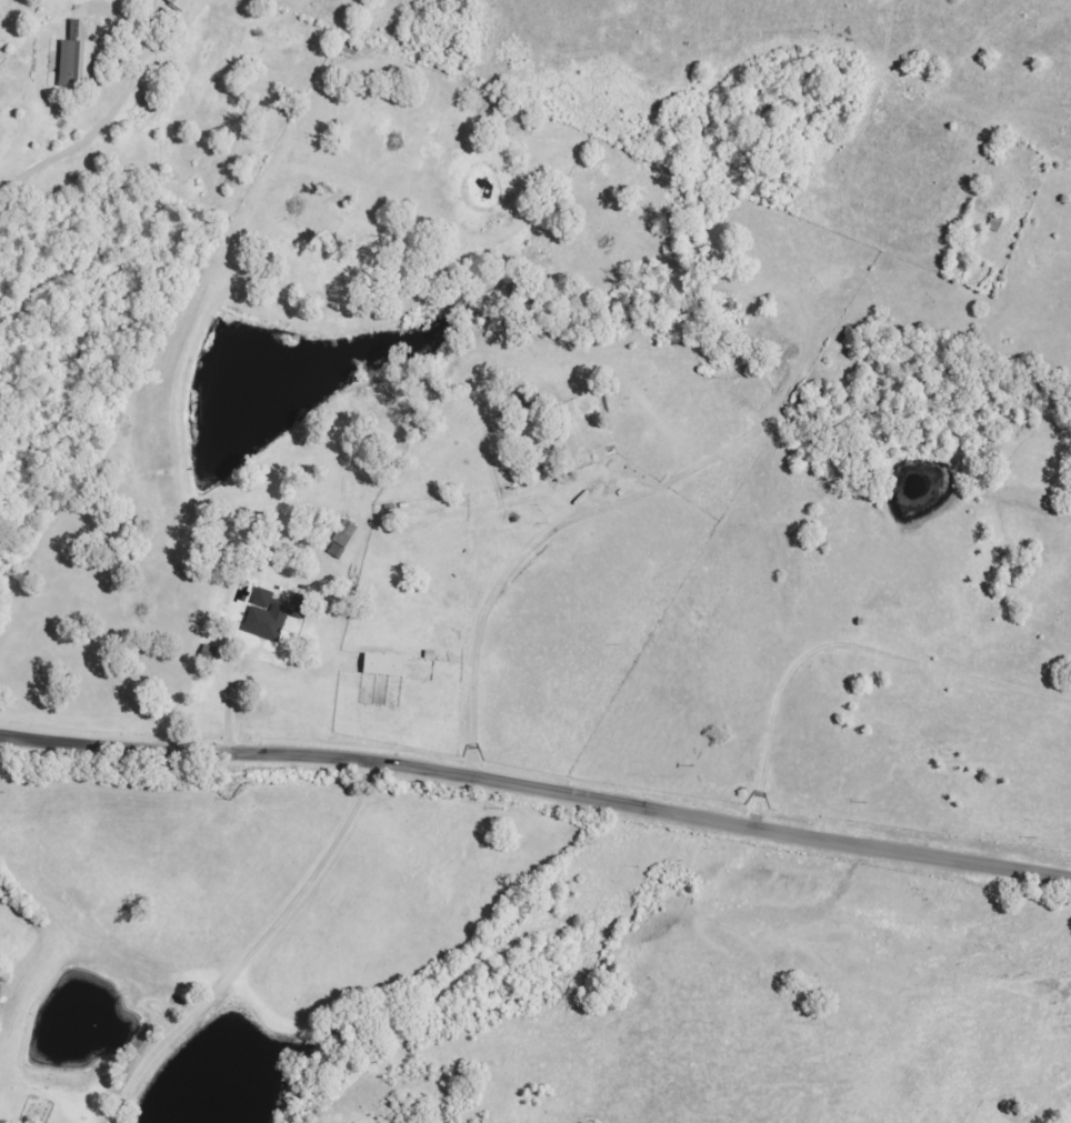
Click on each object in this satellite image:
building: (180, 4)
building: (79, 57)
road: (76, 134)
building: (342, 541)
road: (841, 633)
building: (209, 654)
building: (384, 666)
road: (177, 752)
road: (712, 824)
road: (253, 951)

